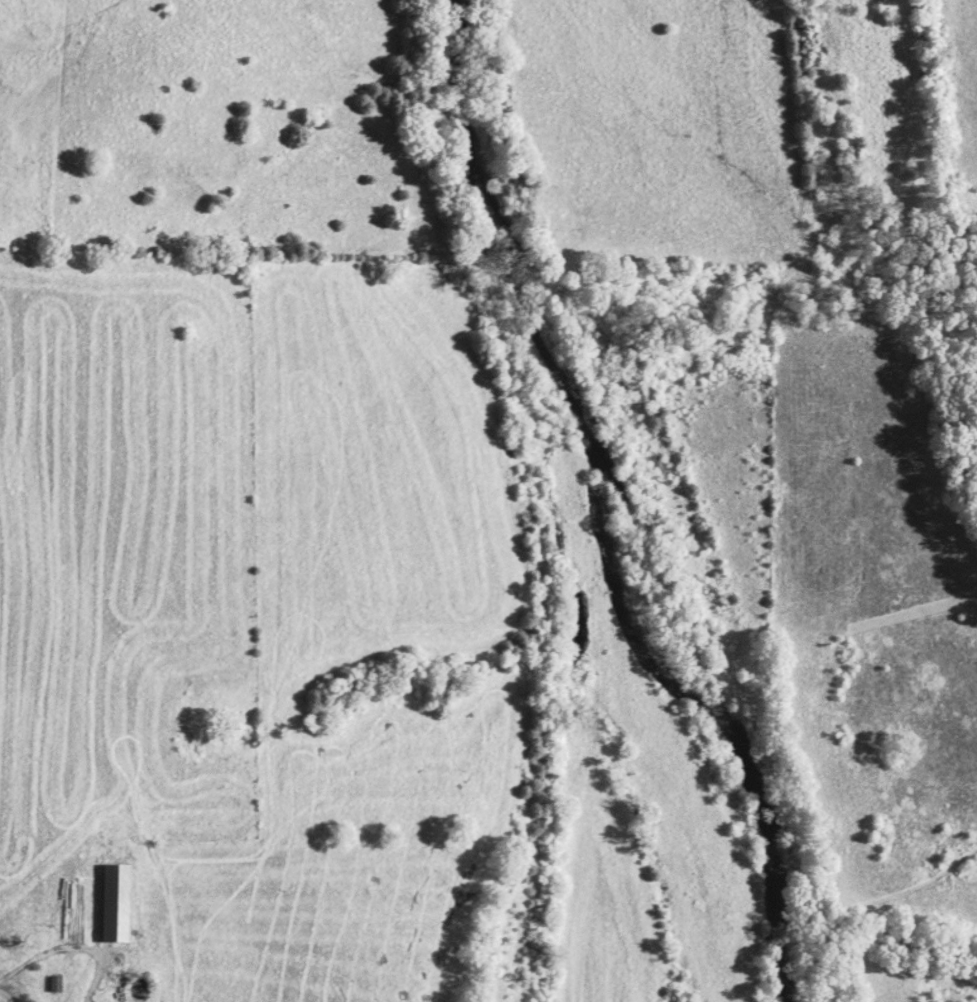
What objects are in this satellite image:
building: (116, 904)
road: (3, 999)

